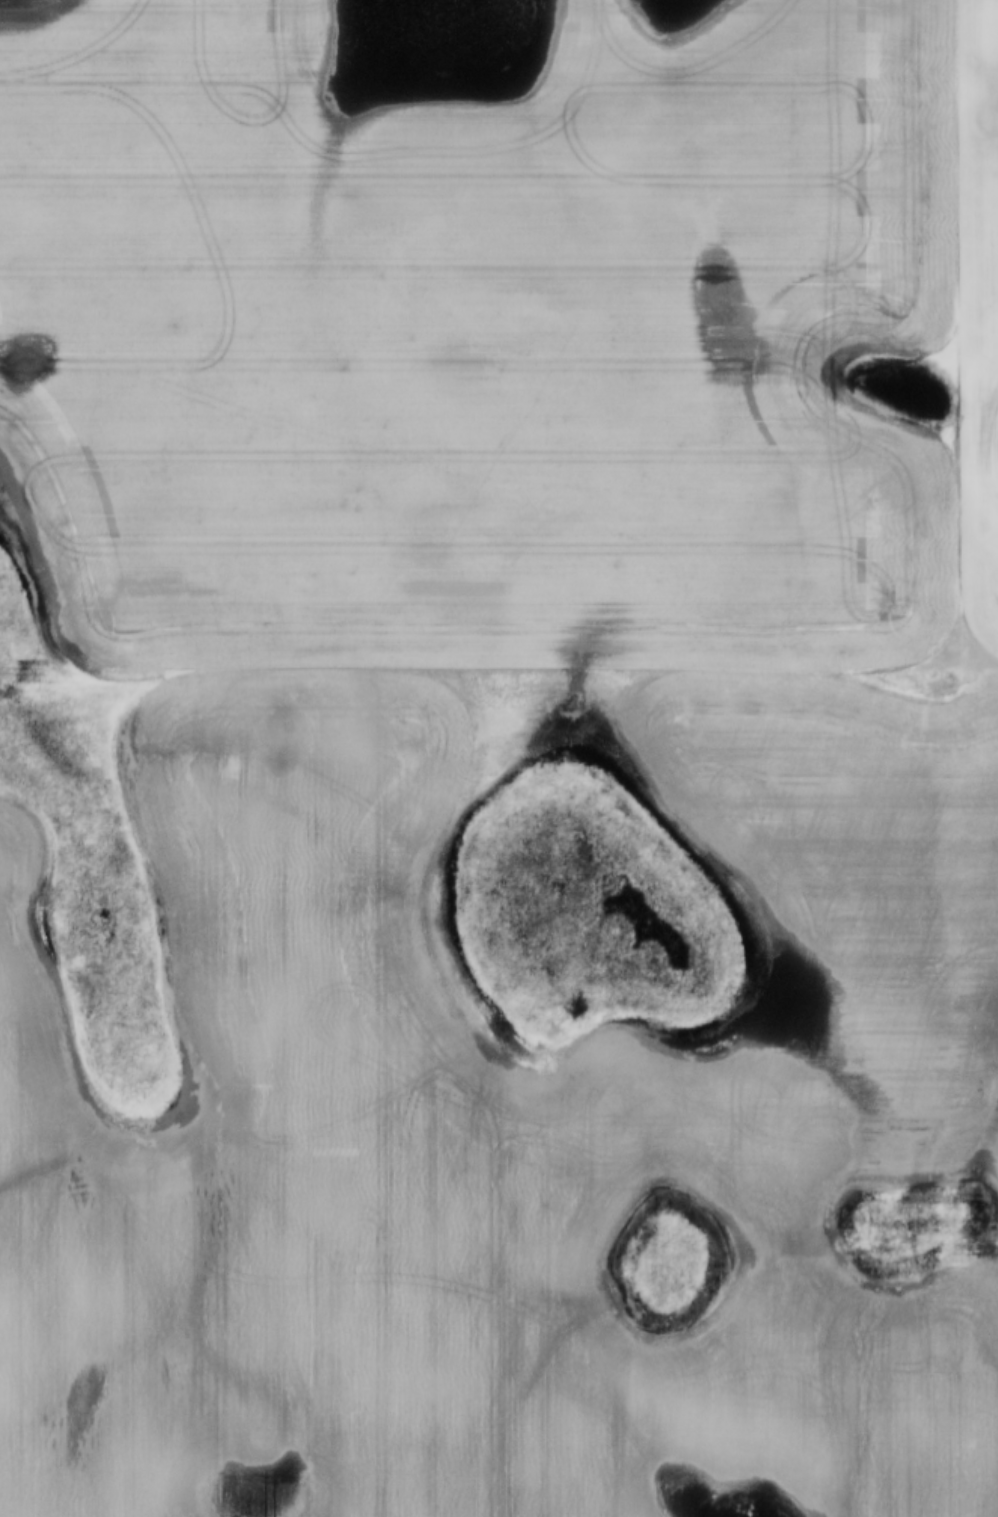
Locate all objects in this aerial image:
road: (952, 758)

